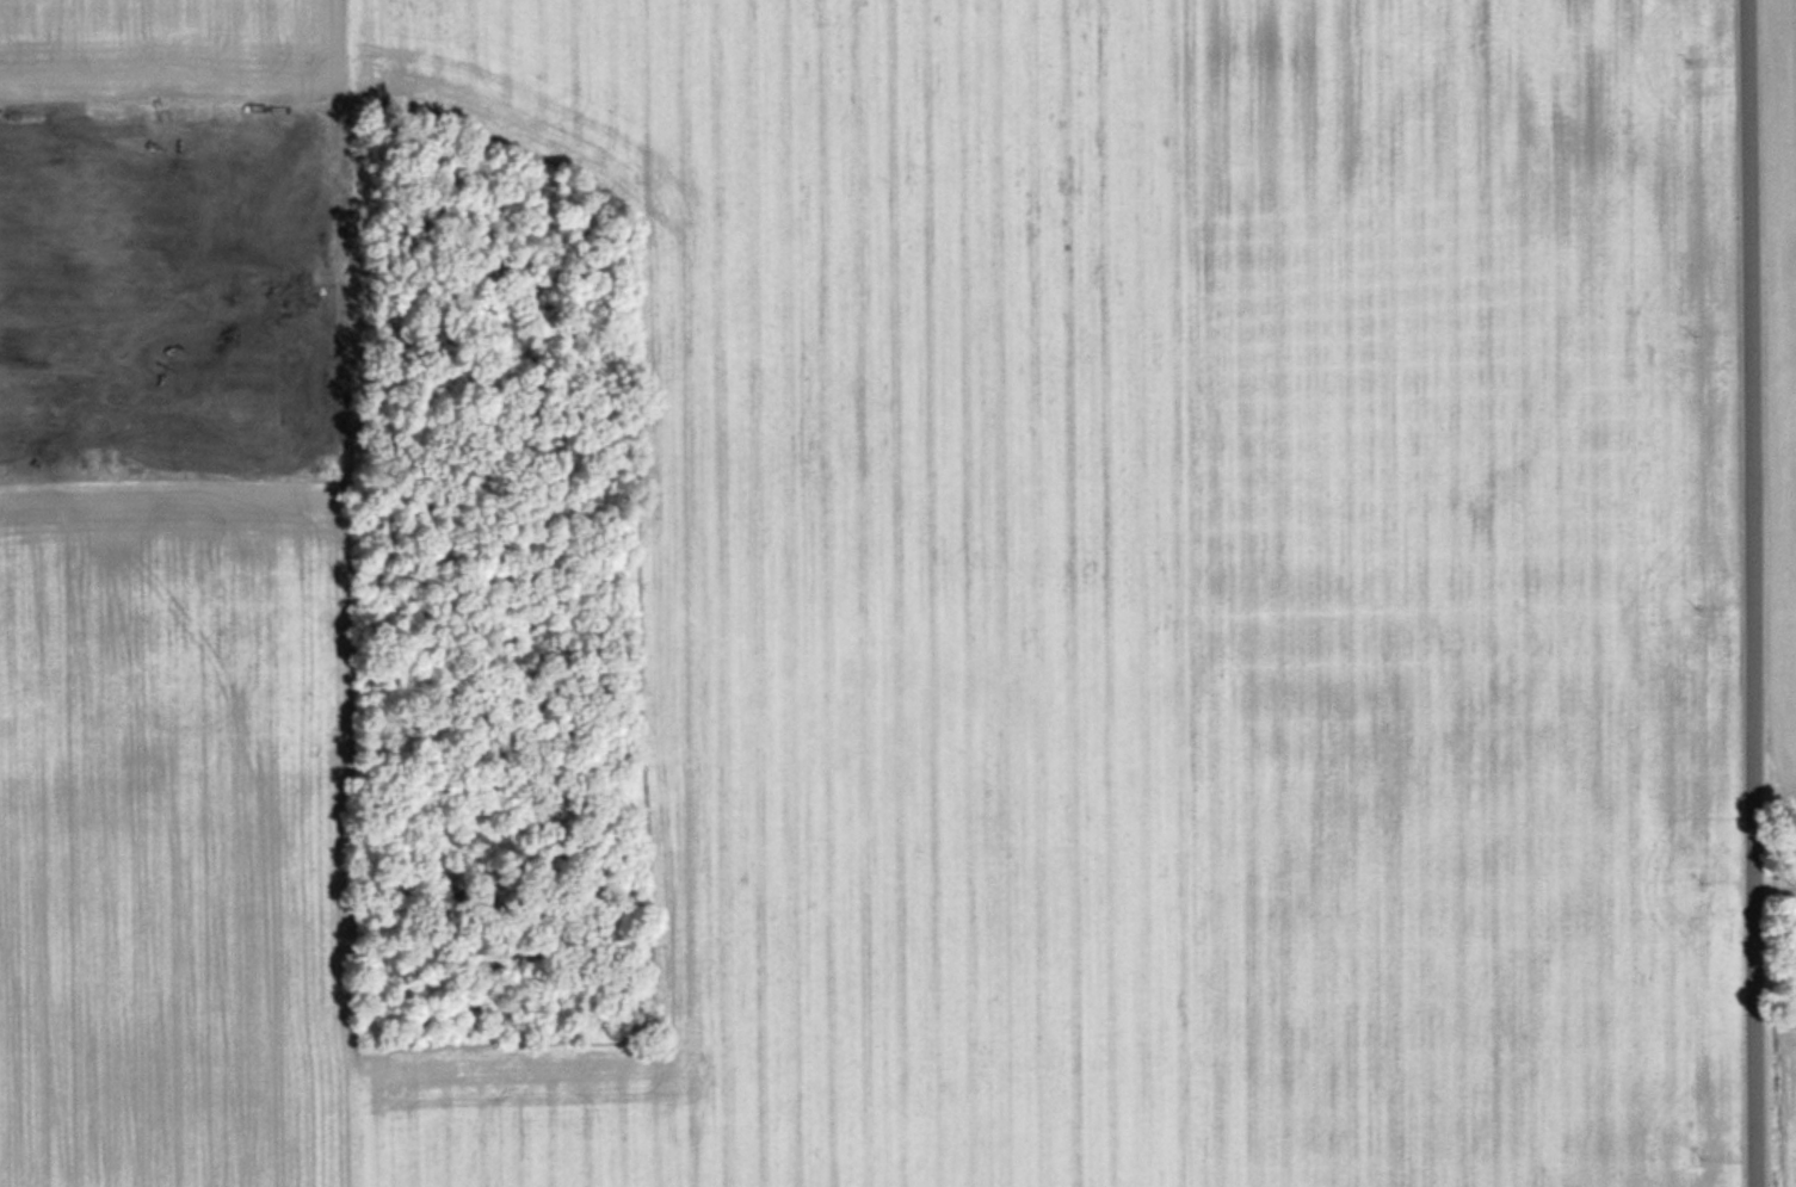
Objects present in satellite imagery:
road: (1753, 593)

